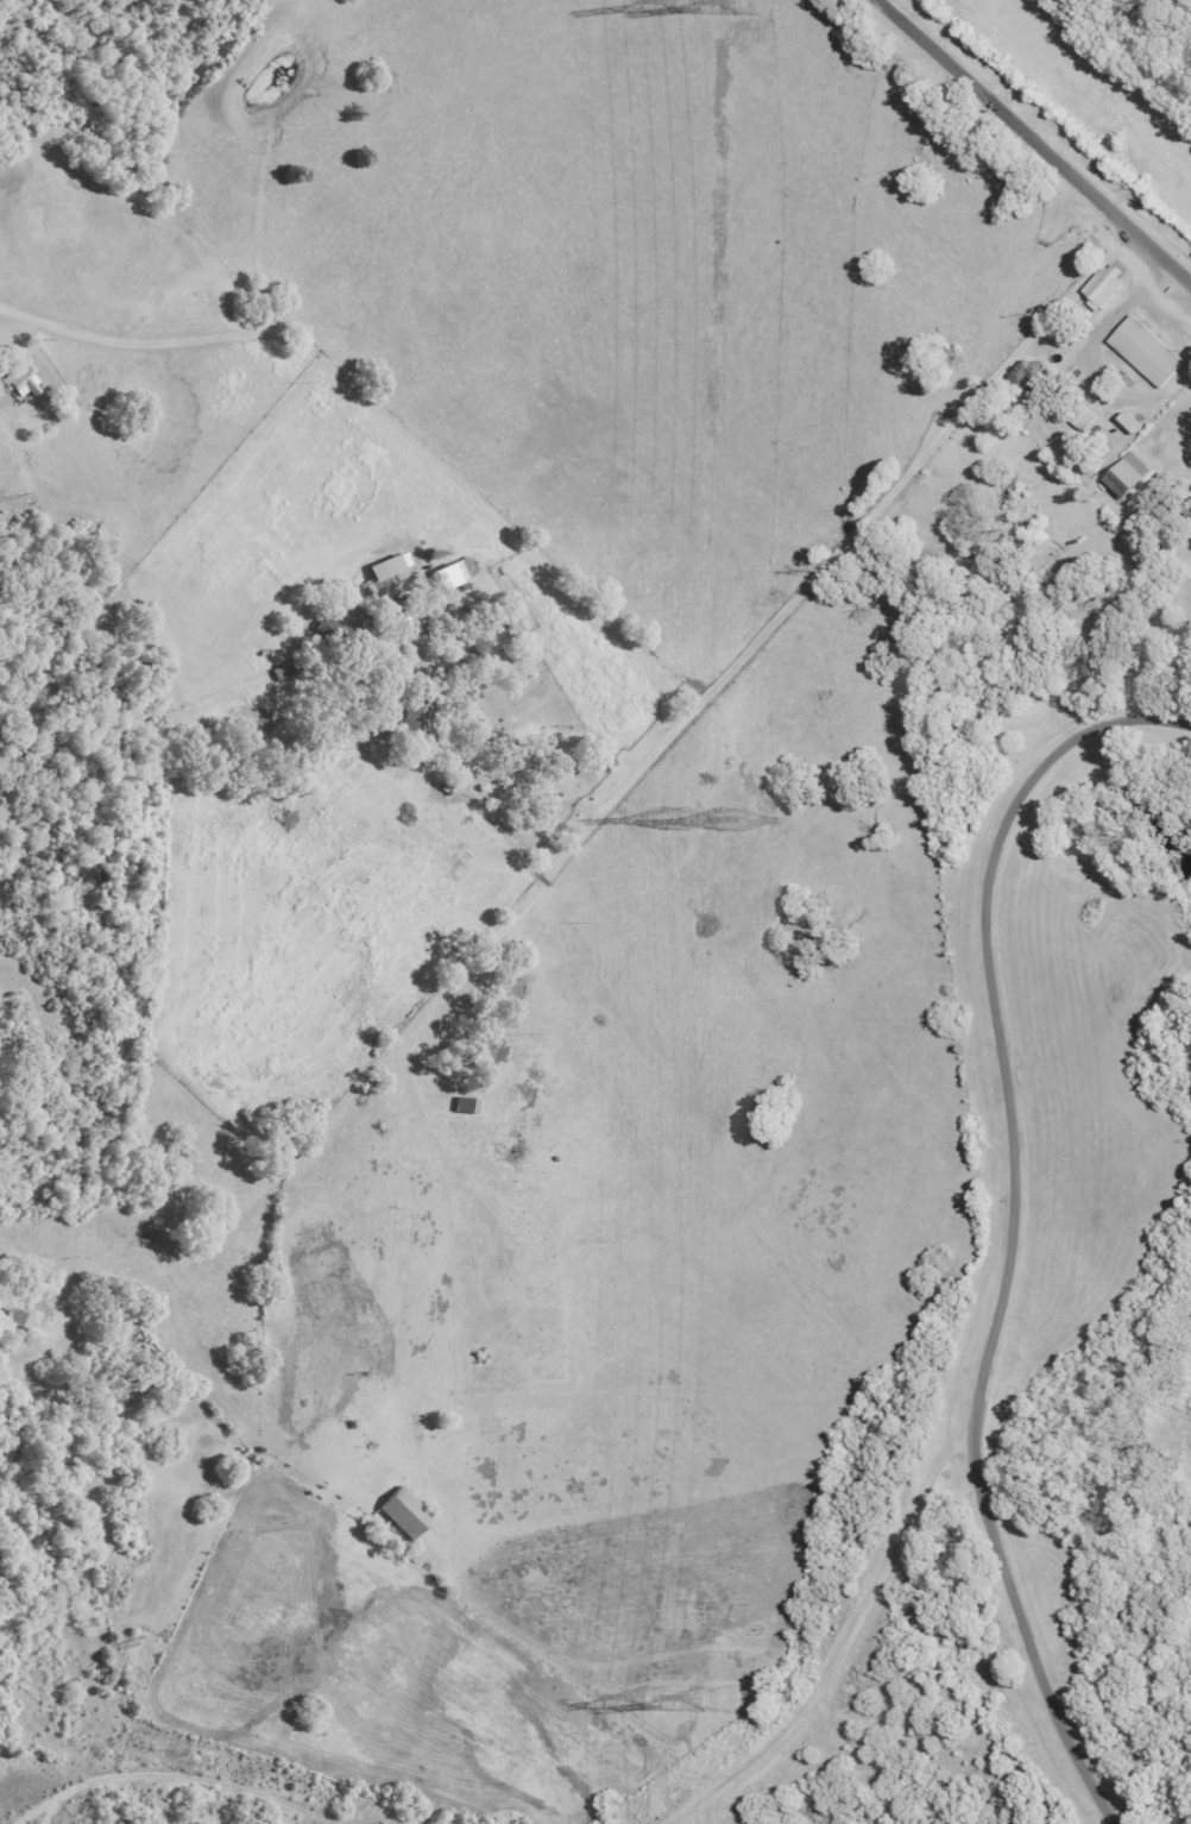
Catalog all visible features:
power tower: (681, 2)
power tower: (741, 4)
road: (1031, 144)
building: (1098, 285)
building: (1139, 351)
building: (1022, 379)
building: (17, 384)
building: (1072, 415)
road: (385, 419)
building: (452, 571)
building: (377, 573)
building: (320, 628)
road: (768, 629)
building: (409, 718)
park: (1172, 791)
power tower: (724, 817)
power tower: (667, 819)
building: (459, 1105)
road: (1014, 1257)
building: (397, 1512)
road: (1017, 1636)
power tower: (650, 1698)
power tower: (707, 1699)
road: (174, 1773)

